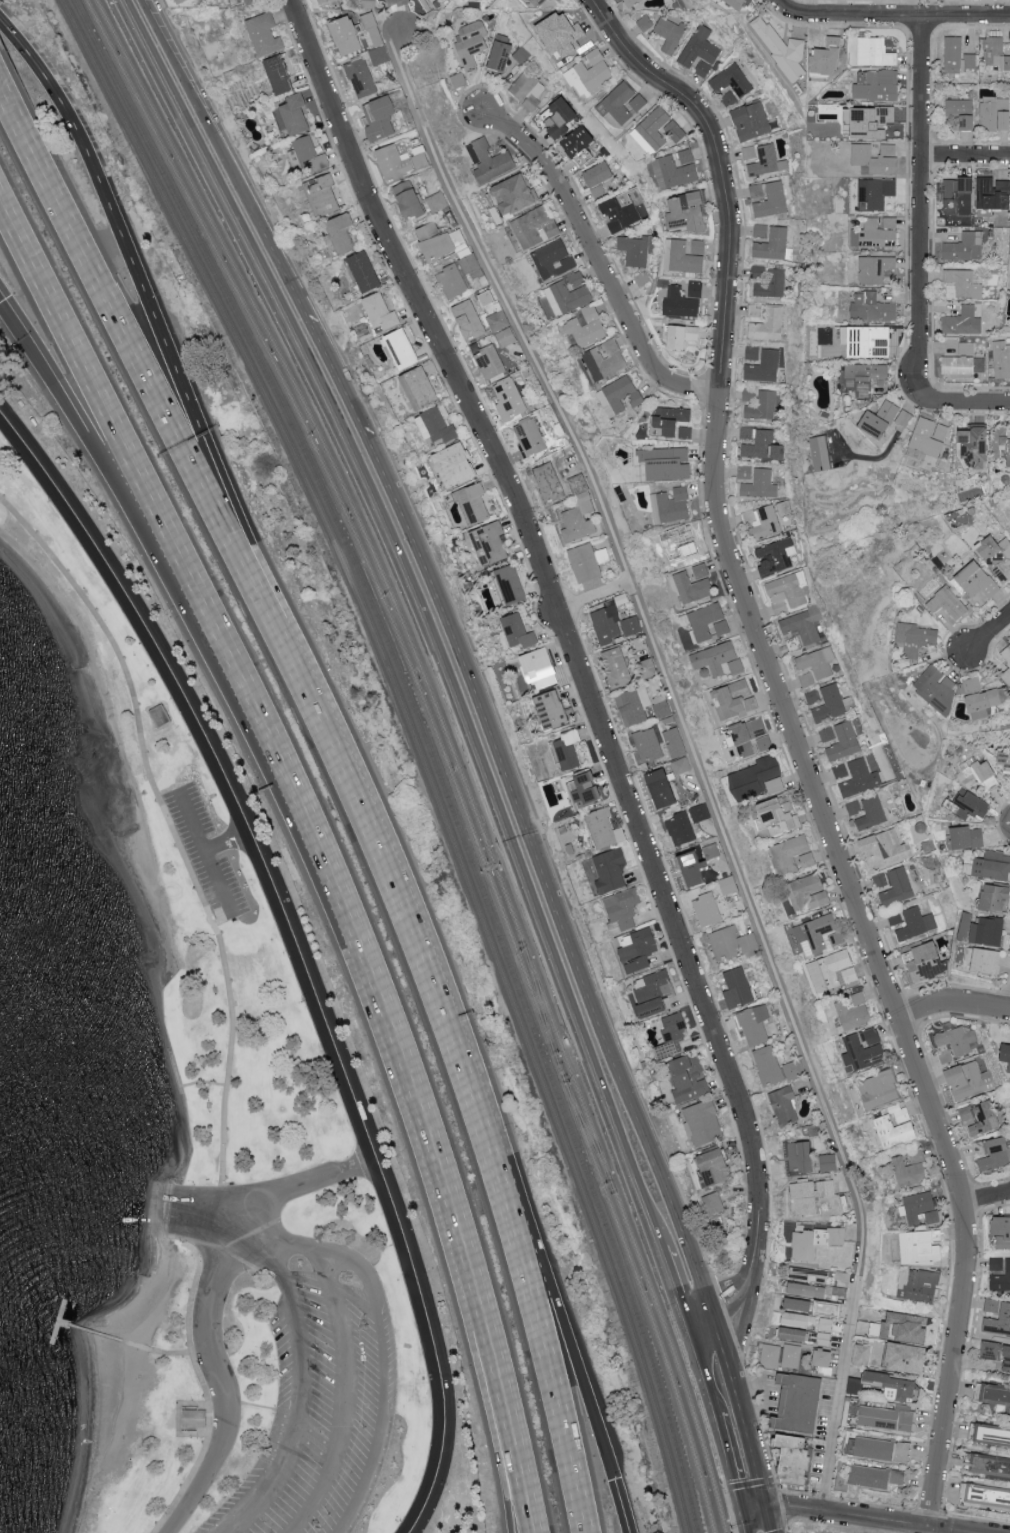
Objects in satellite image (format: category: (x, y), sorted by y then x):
building: (242, 0)
building: (617, 0)
building: (180, 1)
building: (254, 1)
building: (324, 1)
building: (396, 2)
building: (540, 2)
building: (633, 2)
building: (738, 3)
road: (788, 7)
road: (146, 11)
road: (901, 14)
building: (645, 22)
building: (670, 33)
building: (265, 34)
building: (564, 34)
building: (346, 35)
building: (471, 42)
building: (782, 49)
building: (700, 52)
building: (874, 52)
building: (996, 53)
building: (953, 54)
building: (520, 55)
building: (501, 57)
building: (826, 57)
building: (971, 61)
building: (590, 72)
building: (279, 74)
building: (361, 78)
building: (459, 80)
building: (732, 80)
building: (878, 86)
building: (528, 89)
building: (729, 98)
road: (9, 104)
building: (621, 104)
building: (992, 111)
building: (961, 113)
building: (295, 114)
building: (380, 118)
building: (1004, 119)
building: (752, 121)
building: (873, 123)
building: (652, 130)
building: (675, 130)
building: (580, 145)
building: (307, 152)
building: (749, 152)
road: (965, 155)
building: (875, 158)
building: (421, 160)
building: (491, 161)
building: (767, 161)
building: (394, 162)
road: (229, 167)
building: (599, 178)
building: (875, 193)
building: (516, 194)
building: (325, 195)
building: (959, 196)
building: (989, 198)
building: (410, 199)
road: (920, 199)
building: (772, 200)
building: (437, 201)
building: (621, 208)
building: (688, 213)
building: (615, 225)
building: (535, 227)
building: (428, 231)
building: (341, 233)
building: (877, 233)
building: (772, 244)
building: (440, 246)
building: (698, 247)
building: (964, 247)
building: (634, 250)
building: (682, 257)
building: (553, 259)
road: (596, 261)
building: (470, 263)
building: (874, 268)
building: (364, 271)
building: (641, 278)
building: (452, 281)
building: (768, 281)
building: (963, 283)
road: (145, 288)
building: (569, 293)
building: (684, 300)
road: (0, 301)
building: (548, 306)
building: (872, 307)
building: (381, 312)
building: (468, 319)
building: (498, 320)
building: (963, 322)
building: (769, 324)
building: (586, 327)
building: (506, 336)
building: (682, 336)
building: (402, 348)
building: (966, 348)
road: (137, 352)
building: (753, 354)
building: (1001, 359)
road: (331, 361)
building: (605, 361)
building: (489, 362)
road: (84, 365)
building: (958, 365)
road: (44, 366)
building: (764, 367)
building: (862, 378)
building: (419, 388)
building: (619, 396)
building: (508, 398)
road: (961, 402)
building: (762, 406)
building: (895, 413)
building: (671, 422)
building: (876, 425)
building: (436, 426)
building: (530, 436)
building: (929, 436)
building: (1005, 443)
building: (758, 444)
building: (976, 446)
building: (778, 452)
building: (821, 453)
building: (667, 463)
building: (456, 465)
building: (744, 472)
building: (548, 481)
road: (129, 483)
building: (760, 484)
building: (474, 504)
building: (671, 505)
building: (580, 512)
building: (764, 523)
building: (490, 543)
building: (676, 543)
building: (776, 556)
building: (997, 556)
building: (589, 562)
building: (701, 571)
building: (975, 583)
building: (511, 584)
building: (693, 587)
road: (594, 600)
building: (946, 603)
road: (415, 612)
railway: (390, 622)
railway: (399, 622)
building: (708, 622)
building: (613, 625)
building: (803, 625)
road: (565, 629)
road: (988, 631)
building: (519, 632)
building: (915, 638)
building: (1006, 654)
building: (718, 659)
building: (816, 662)
building: (543, 663)
building: (616, 667)
building: (647, 668)
building: (1006, 676)
building: (806, 679)
building: (937, 689)
building: (737, 699)
building: (983, 699)
building: (829, 704)
building: (634, 705)
building: (661, 706)
building: (552, 710)
building: (160, 715)
building: (826, 734)
building: (751, 738)
building: (844, 741)
building: (675, 742)
building: (648, 744)
road: (796, 746)
railway: (417, 748)
railway: (426, 748)
building: (566, 749)
road: (691, 756)
building: (1005, 759)
building: (681, 766)
building: (839, 770)
building: (974, 772)
building: (860, 778)
building: (758, 779)
building: (663, 789)
building: (586, 790)
building: (975, 804)
building: (853, 807)
building: (701, 812)
building: (871, 813)
building: (602, 828)
building: (682, 830)
building: (968, 838)
road: (225, 841)
building: (884, 849)
building: (711, 851)
building: (788, 854)
road: (204, 855)
parking lot: (206, 856)
building: (808, 860)
building: (993, 866)
building: (691, 869)
building: (609, 872)
road: (548, 885)
building: (898, 887)
building: (996, 899)
road: (406, 903)
building: (706, 910)
building: (621, 911)
building: (916, 924)
building: (989, 932)
building: (815, 934)
building: (731, 944)
road: (296, 949)
building: (636, 951)
building: (986, 961)
building: (927, 962)
road: (369, 966)
building: (832, 971)
building: (738, 987)
building: (652, 988)
road: (231, 996)
railway: (538, 1000)
road: (952, 1001)
building: (650, 1009)
building: (854, 1012)
building: (754, 1024)
building: (673, 1034)
building: (957, 1038)
building: (864, 1049)
building: (1007, 1056)
building: (944, 1057)
building: (768, 1064)
building: (690, 1078)
building: (968, 1080)
building: (879, 1089)
building: (785, 1105)
building: (969, 1116)
building: (985, 1119)
building: (703, 1122)
building: (893, 1131)
railway: (587, 1135)
building: (995, 1154)
building: (800, 1156)
building: (828, 1162)
building: (714, 1166)
building: (910, 1169)
park: (241, 1177)
road: (308, 1185)
building: (810, 1195)
road: (986, 1200)
road: (179, 1203)
building: (714, 1203)
building: (920, 1208)
building: (1002, 1232)
building: (814, 1241)
building: (921, 1246)
road: (303, 1253)
building: (996, 1265)
building: (808, 1274)
road: (674, 1284)
building: (920, 1285)
building: (806, 1289)
road: (732, 1300)
building: (799, 1304)
road: (699, 1316)
building: (800, 1319)
pier: (57, 1321)
building: (999, 1321)
building: (826, 1323)
road: (741, 1324)
building: (902, 1327)
pier: (91, 1332)
building: (794, 1333)
building: (824, 1338)
road: (213, 1349)
building: (992, 1350)
road: (158, 1352)
road: (573, 1355)
building: (861, 1355)
building: (770, 1356)
building: (791, 1356)
building: (823, 1357)
building: (906, 1357)
building: (1007, 1360)
road: (701, 1374)
building: (854, 1386)
building: (894, 1386)
road: (548, 1387)
road: (736, 1389)
building: (992, 1393)
road: (764, 1394)
parking lot: (323, 1397)
road: (342, 1397)
railway: (687, 1400)
railway: (676, 1401)
building: (800, 1402)
building: (195, 1418)
building: (886, 1418)
building: (991, 1435)
building: (881, 1449)
building: (795, 1458)
road: (755, 1461)
building: (990, 1466)
road: (728, 1470)
road: (511, 1477)
road: (519, 1477)
building: (875, 1477)
road: (751, 1488)
building: (985, 1495)
road: (621, 1505)
road: (795, 1507)
traffic signals: (767, 1508)
road: (753, 1511)
road: (731, 1514)
traffic signals: (739, 1515)
road: (768, 1520)
road: (894, 1522)
road: (740, 1524)

